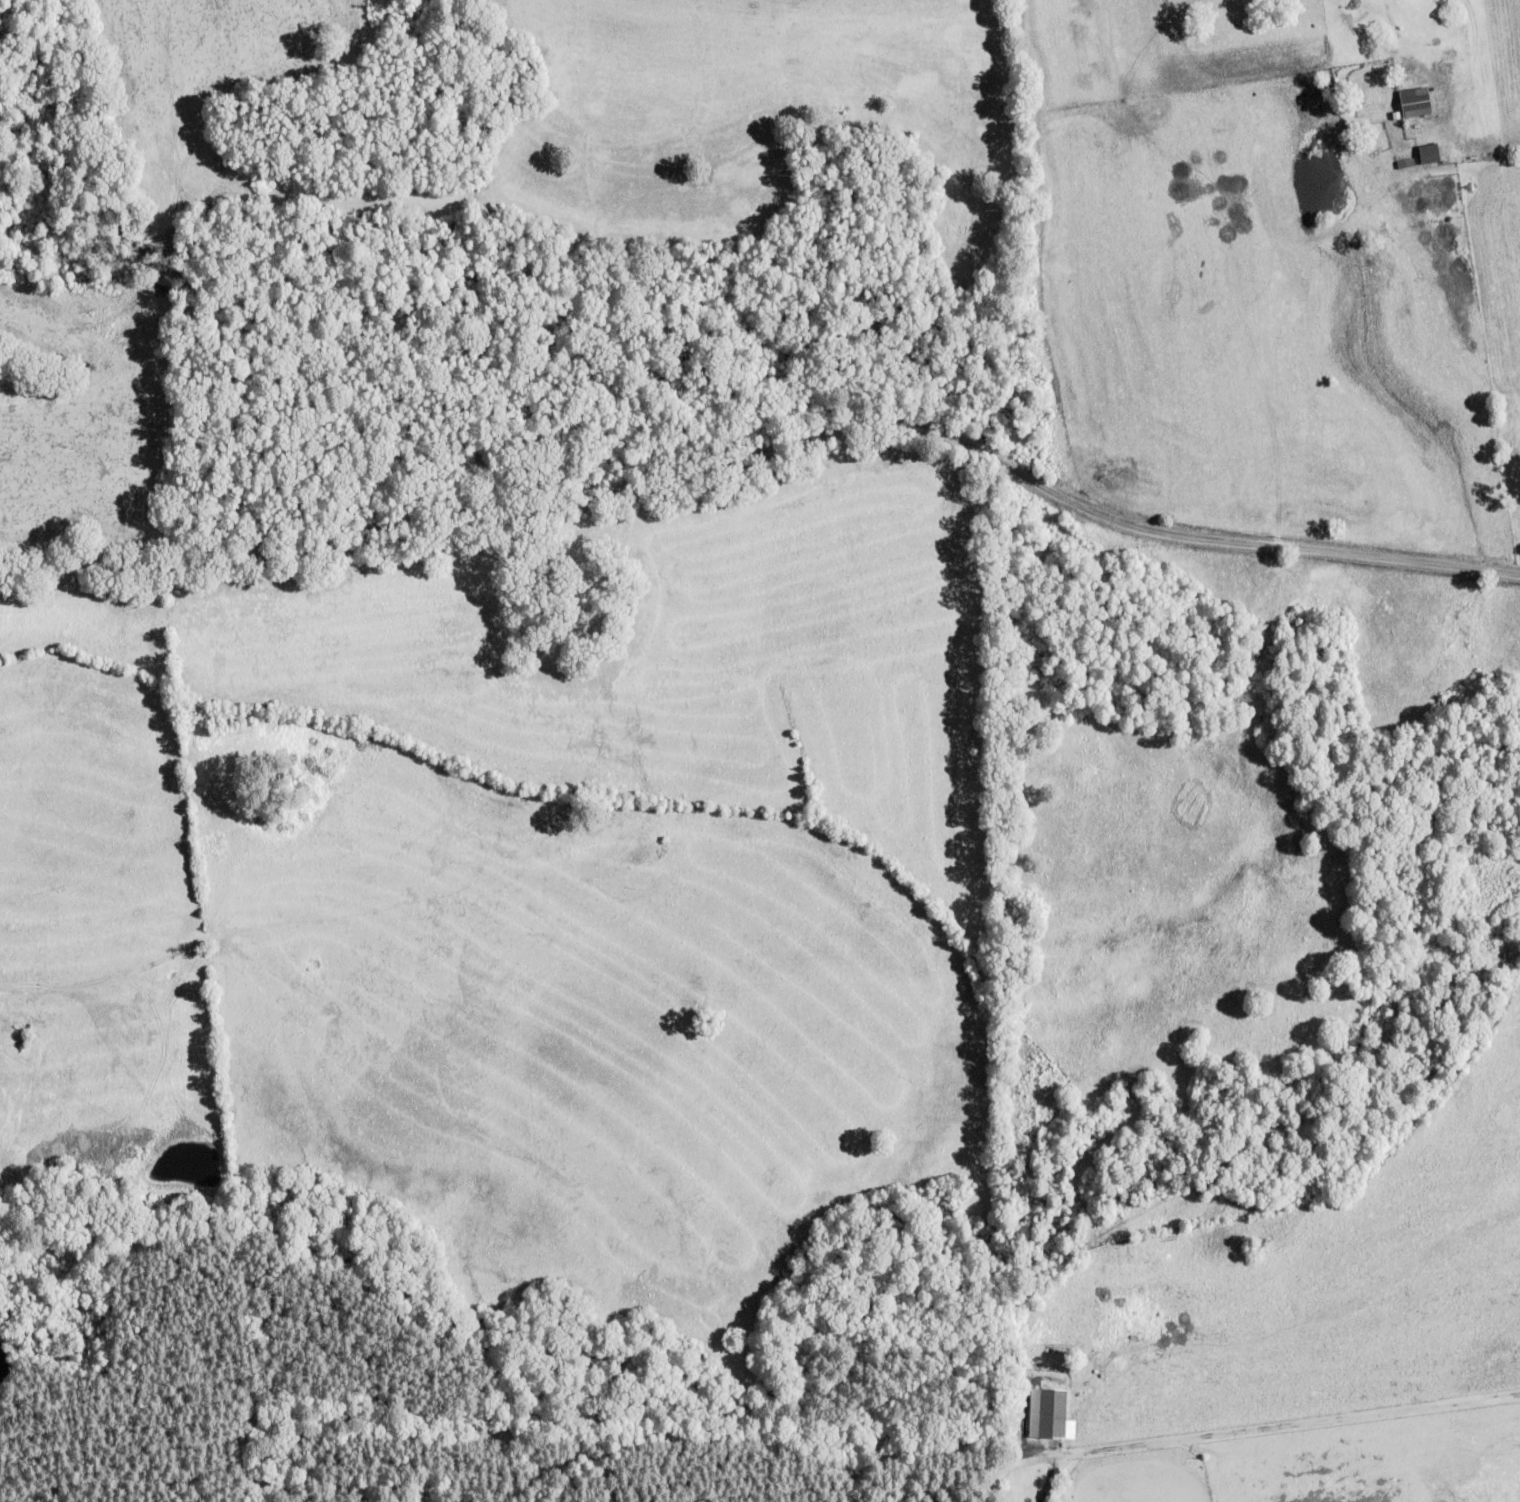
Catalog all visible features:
building: (1408, 70)
building: (1413, 102)
building: (1427, 153)
road: (769, 447)

